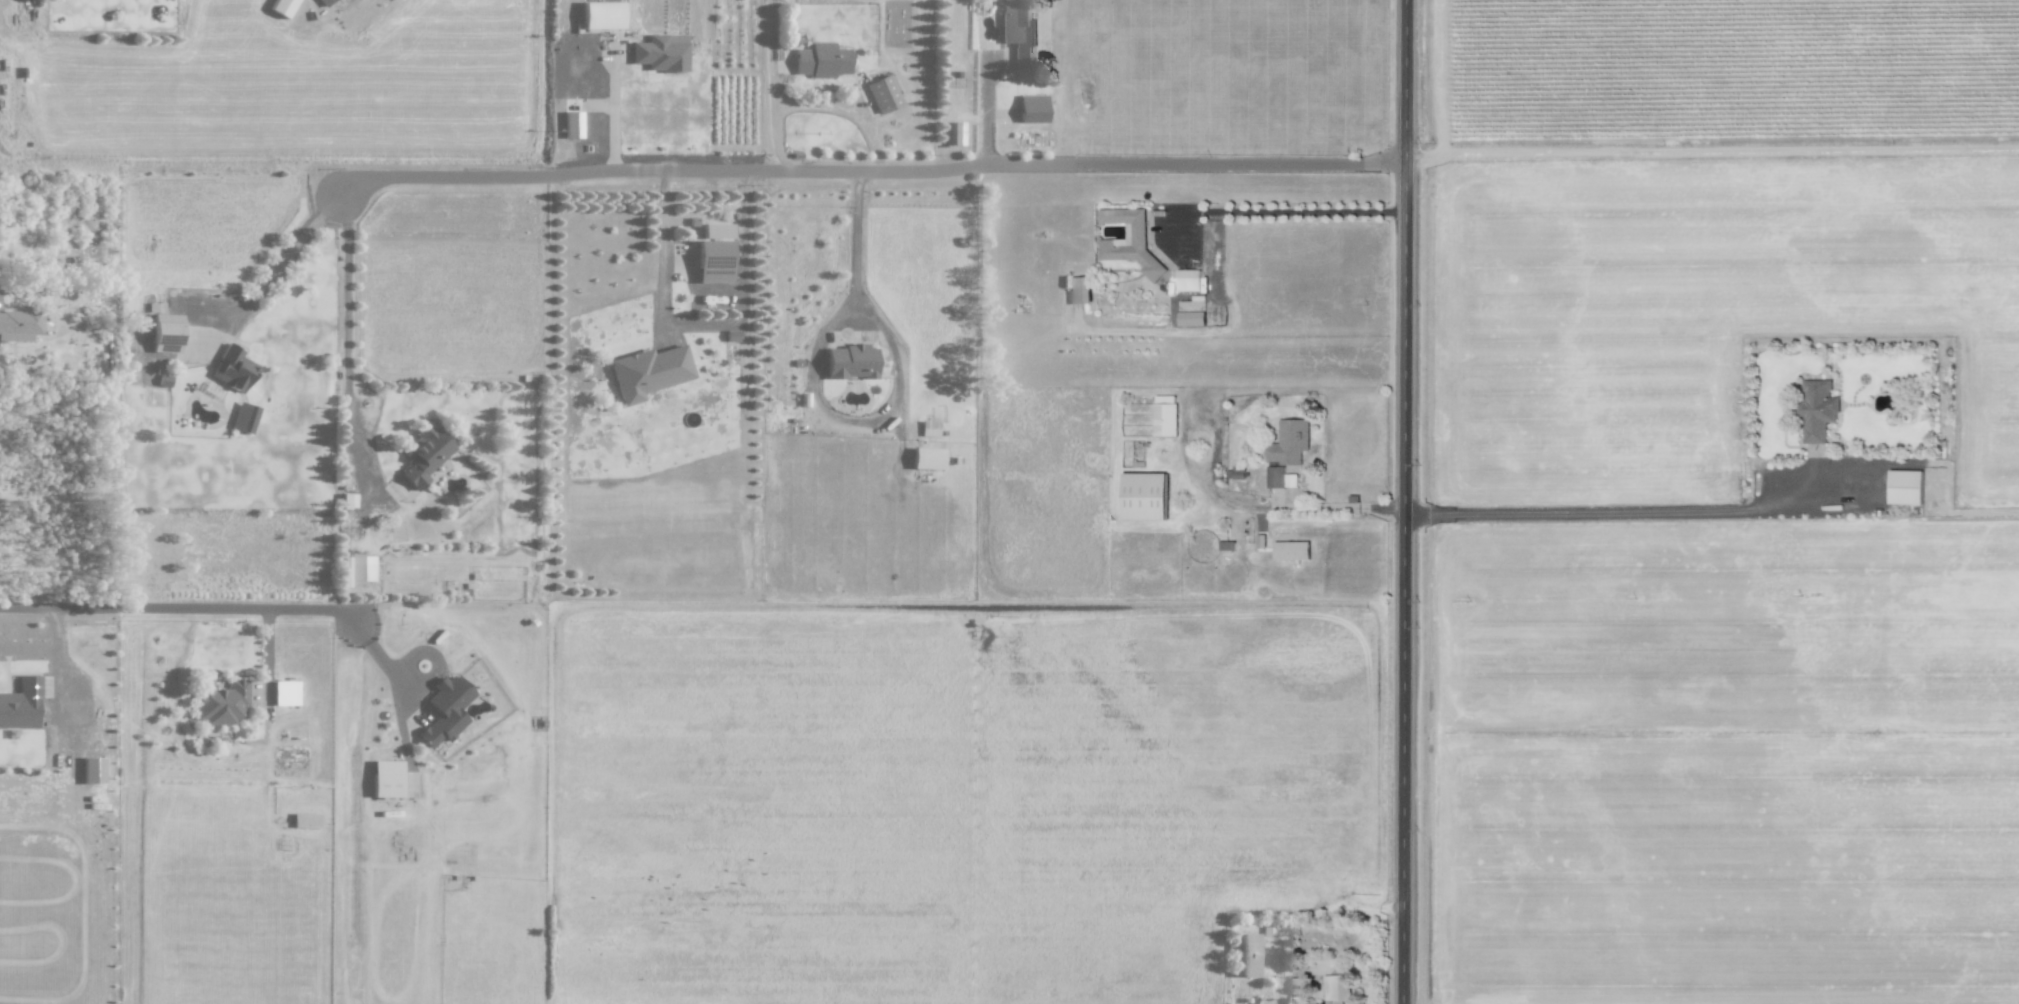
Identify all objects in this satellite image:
building: (324, 2)
building: (281, 7)
building: (601, 15)
building: (1018, 30)
building: (661, 52)
building: (821, 60)
road: (776, 80)
building: (883, 93)
road: (614, 105)
road: (601, 107)
building: (1032, 108)
road: (845, 109)
building: (572, 124)
road: (1713, 152)
road: (873, 163)
road: (1239, 213)
road: (858, 247)
building: (1122, 247)
building: (713, 261)
road: (271, 273)
building: (1188, 280)
building: (1080, 290)
building: (1193, 311)
building: (19, 325)
road: (696, 327)
building: (166, 332)
building: (850, 362)
building: (233, 369)
building: (648, 371)
building: (1818, 409)
building: (1165, 415)
building: (244, 417)
road: (347, 423)
building: (1290, 442)
road: (1218, 448)
road: (1189, 449)
building: (423, 455)
building: (926, 458)
building: (1236, 473)
building: (1276, 476)
building: (1905, 487)
building: (1144, 496)
road: (1407, 501)
road: (1310, 508)
road: (1662, 512)
building: (1292, 550)
building: (361, 568)
building: (344, 571)
road: (230, 611)
road: (270, 662)
building: (285, 693)
building: (220, 702)
building: (21, 704)
building: (445, 709)
building: (92, 770)
building: (386, 778)
building: (1246, 954)
road: (1281, 966)
building: (1337, 989)

